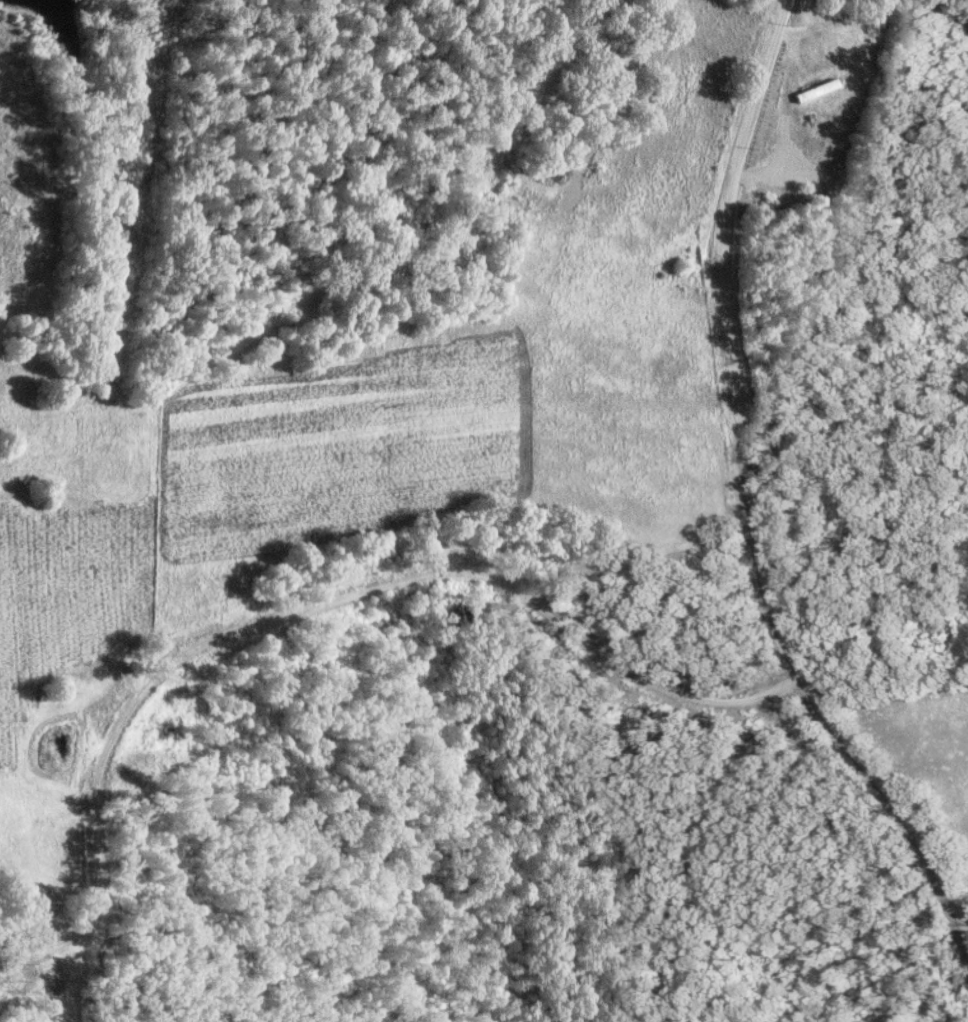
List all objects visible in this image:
road: (752, 497)
road: (308, 607)

